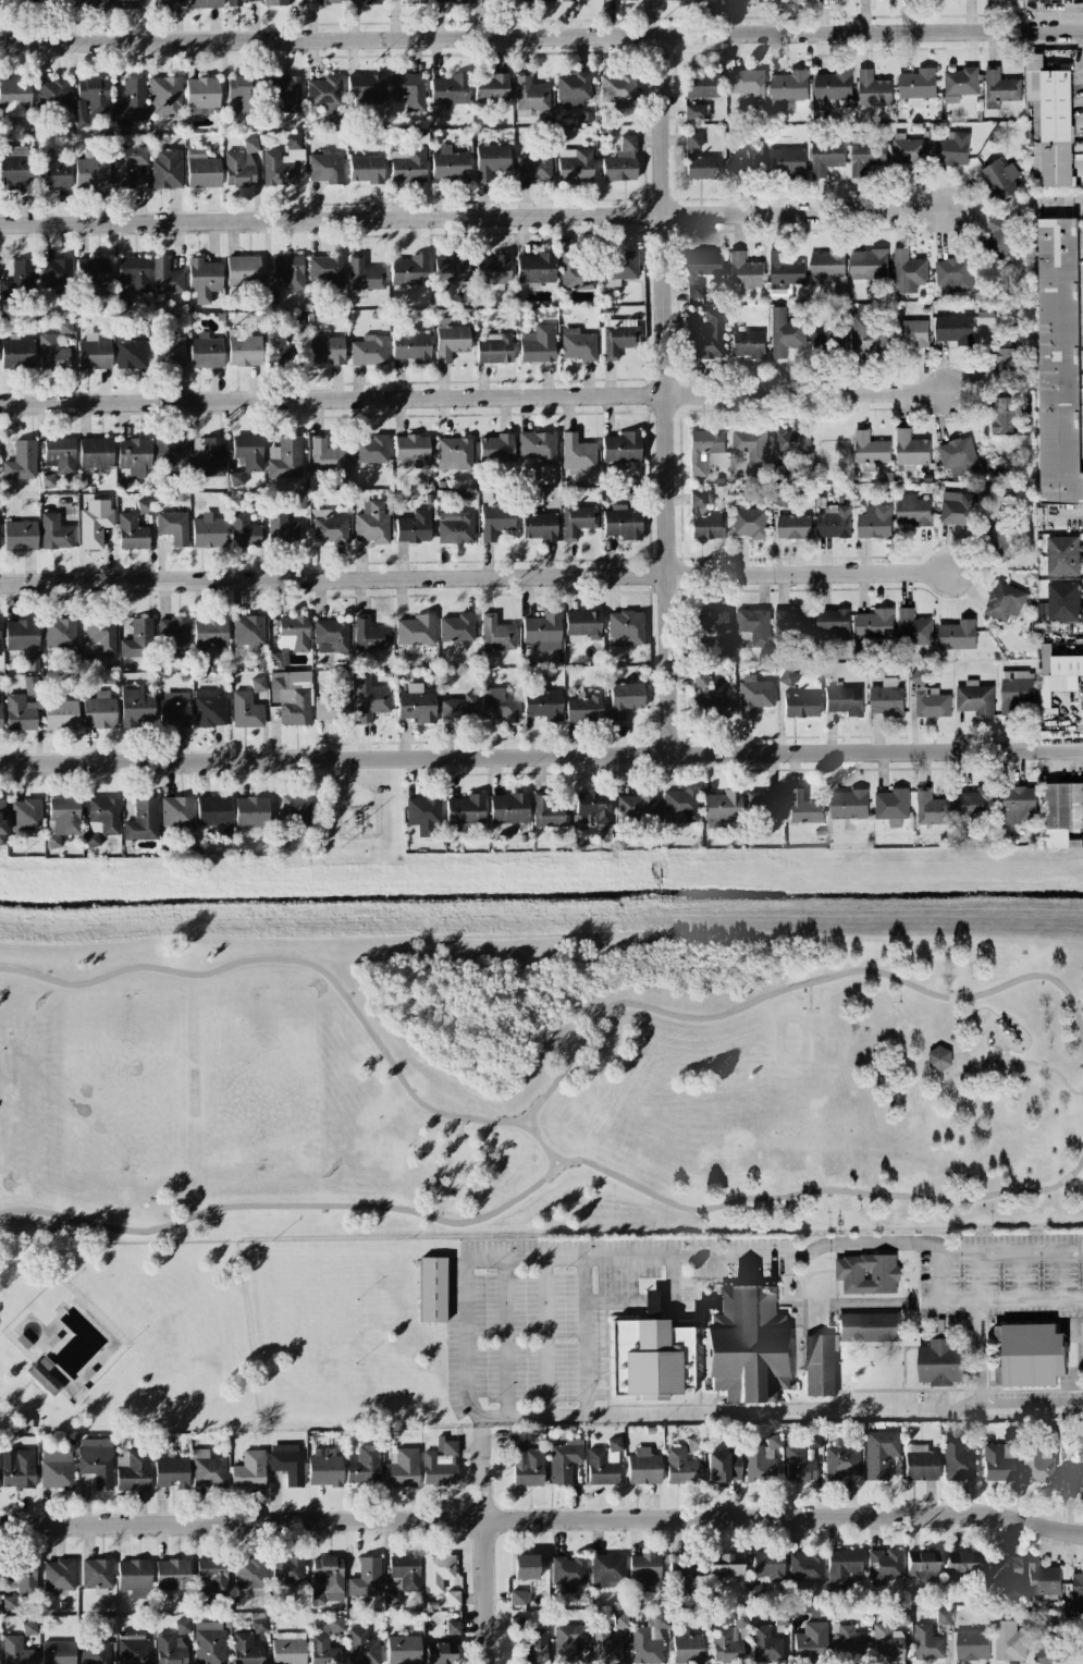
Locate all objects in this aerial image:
building: (407, 0)
building: (536, 0)
building: (566, 0)
building: (666, 0)
building: (275, 1)
building: (364, 1)
building: (447, 1)
building: (478, 1)
building: (52, 2)
building: (321, 2)
building: (13, 3)
building: (94, 3)
building: (169, 3)
building: (205, 3)
building: (126, 4)
road: (541, 36)
building: (746, 83)
building: (918, 83)
building: (960, 83)
building: (834, 84)
building: (701, 85)
building: (1000, 85)
building: (365, 86)
building: (491, 88)
building: (617, 88)
building: (788, 88)
building: (873, 88)
building: (573, 89)
building: (408, 90)
building: (53, 91)
building: (244, 91)
building: (448, 91)
building: (286, 93)
building: (14, 94)
building: (324, 94)
building: (201, 95)
building: (530, 96)
building: (164, 97)
building: (89, 100)
building: (131, 101)
building: (697, 112)
building: (1049, 123)
building: (692, 142)
building: (951, 148)
building: (908, 149)
building: (865, 155)
building: (826, 156)
building: (744, 158)
building: (490, 161)
building: (620, 161)
building: (786, 161)
building: (281, 162)
building: (126, 164)
building: (241, 164)
building: (407, 166)
building: (450, 166)
building: (574, 166)
building: (14, 167)
building: (325, 168)
building: (703, 168)
building: (366, 169)
building: (533, 169)
building: (167, 170)
building: (201, 170)
building: (91, 172)
building: (53, 173)
building: (999, 179)
road: (472, 218)
building: (827, 262)
building: (869, 264)
building: (619, 267)
building: (534, 268)
building: (451, 269)
building: (701, 269)
building: (908, 269)
building: (243, 270)
building: (288, 270)
building: (325, 270)
building: (744, 270)
building: (409, 271)
building: (492, 271)
building: (577, 271)
building: (784, 271)
building: (93, 272)
building: (133, 274)
building: (364, 274)
building: (952, 274)
building: (57, 276)
building: (165, 278)
building: (204, 279)
building: (19, 280)
building: (296, 322)
building: (953, 328)
building: (785, 332)
building: (910, 332)
building: (866, 334)
building: (706, 337)
building: (617, 338)
building: (274, 340)
building: (450, 340)
building: (828, 340)
building: (538, 344)
building: (748, 344)
building: (578, 345)
building: (410, 346)
building: (493, 348)
building: (170, 350)
building: (244, 350)
building: (325, 350)
building: (368, 351)
building: (130, 352)
building: (205, 352)
building: (16, 353)
building: (52, 353)
building: (94, 353)
building: (1005, 359)
building: (1058, 362)
road: (667, 395)
road: (472, 396)
building: (1005, 415)
building: (792, 442)
building: (750, 444)
building: (538, 446)
building: (622, 446)
building: (495, 448)
building: (703, 448)
building: (870, 448)
building: (910, 448)
building: (371, 450)
building: (413, 450)
building: (95, 452)
building: (170, 452)
building: (248, 452)
building: (454, 453)
building: (577, 453)
building: (60, 454)
building: (327, 455)
building: (958, 455)
building: (134, 456)
building: (209, 458)
building: (285, 458)
building: (21, 462)
building: (957, 507)
building: (912, 510)
building: (704, 518)
building: (455, 519)
building: (577, 521)
building: (495, 522)
building: (750, 522)
building: (834, 522)
building: (874, 522)
building: (95, 523)
building: (622, 523)
building: (372, 524)
building: (283, 526)
building: (539, 526)
building: (793, 526)
building: (173, 527)
building: (329, 527)
building: (414, 527)
building: (244, 530)
building: (54, 531)
building: (208, 531)
building: (132, 533)
building: (20, 536)
building: (1063, 554)
road: (473, 578)
building: (1064, 600)
building: (1004, 601)
building: (710, 621)
building: (0, 622)
building: (833, 622)
building: (791, 623)
building: (874, 623)
building: (582, 624)
building: (753, 625)
building: (626, 626)
building: (913, 627)
building: (456, 628)
building: (209, 632)
building: (542, 632)
building: (59, 633)
building: (248, 633)
building: (293, 633)
building: (415, 633)
building: (101, 634)
building: (173, 634)
building: (495, 634)
building: (957, 634)
building: (21, 635)
building: (370, 635)
building: (331, 636)
building: (138, 639)
building: (700, 643)
building: (279, 658)
building: (1057, 673)
building: (787, 677)
building: (258, 684)
building: (30, 685)
building: (1016, 689)
building: (753, 695)
building: (292, 697)
building: (928, 697)
building: (886, 698)
building: (975, 698)
building: (369, 699)
building: (625, 699)
building: (707, 699)
building: (844, 700)
building: (542, 703)
building: (416, 705)
building: (497, 705)
building: (800, 705)
building: (135, 706)
building: (332, 706)
building: (583, 708)
building: (0, 709)
building: (174, 709)
building: (209, 709)
building: (458, 709)
building: (246, 710)
building: (99, 711)
building: (21, 713)
building: (60, 714)
road: (541, 757)
building: (763, 804)
building: (848, 804)
building: (1018, 804)
building: (891, 805)
building: (637, 806)
building: (680, 806)
building: (593, 807)
building: (932, 807)
building: (508, 808)
building: (721, 808)
building: (803, 808)
building: (466, 810)
building: (175, 811)
building: (1061, 811)
building: (549, 812)
building: (213, 813)
building: (250, 813)
building: (296, 813)
building: (423, 813)
building: (25, 815)
building: (103, 815)
building: (62, 819)
building: (141, 821)
road: (805, 998)
road: (1078, 1005)
road: (807, 1012)
road: (1004, 1044)
building: (939, 1057)
road: (997, 1065)
road: (961, 1072)
road: (1021, 1073)
road: (553, 1082)
park: (539, 1088)
road: (522, 1128)
road: (459, 1129)
road: (539, 1146)
road: (556, 1160)
road: (1074, 1166)
road: (532, 1186)
road: (1071, 1188)
road: (962, 1189)
road: (470, 1211)
road: (1012, 1253)
building: (869, 1273)
road: (1061, 1275)
road: (943, 1276)
road: (977, 1276)
road: (1018, 1276)
building: (433, 1289)
road: (650, 1298)
road: (1012, 1299)
road: (891, 1300)
building: (650, 1301)
building: (869, 1326)
road: (583, 1336)
road: (506, 1338)
road: (545, 1338)
park: (124, 1339)
building: (749, 1345)
road: (979, 1348)
flagpole: (1082, 1348)
road: (467, 1351)
building: (1030, 1354)
building: (650, 1359)
flagpole: (1082, 1360)
building: (940, 1362)
building: (819, 1366)
building: (44, 1378)
road: (38, 1387)
road: (19, 1394)
road: (1031, 1398)
road: (480, 1424)
building: (813, 1441)
building: (693, 1443)
building: (879, 1453)
building: (957, 1459)
building: (564, 1460)
building: (761, 1460)
building: (999, 1460)
building: (96, 1461)
building: (841, 1461)
building: (287, 1463)
building: (440, 1464)
building: (603, 1464)
building: (920, 1464)
building: (1036, 1464)
building: (364, 1466)
building: (723, 1466)
building: (798, 1466)
building: (57, 1467)
building: (527, 1467)
building: (643, 1467)
building: (679, 1467)
building: (324, 1468)
building: (403, 1469)
building: (19, 1470)
building: (133, 1470)
building: (208, 1470)
building: (248, 1471)
building: (171, 1472)
building: (1074, 1473)
road: (542, 1520)
road: (483, 1546)
building: (768, 1565)
building: (525, 1566)
building: (725, 1566)
building: (884, 1566)
building: (961, 1566)
building: (805, 1567)
building: (841, 1567)
building: (921, 1567)
building: (607, 1570)
building: (288, 1571)
building: (249, 1573)
building: (644, 1573)
building: (1006, 1573)
building: (172, 1574)
building: (213, 1574)
building: (567, 1574)
building: (58, 1575)
building: (682, 1575)
building: (97, 1576)
building: (329, 1576)
building: (403, 1576)
building: (441, 1577)
building: (21, 1578)
building: (134, 1578)
building: (366, 1578)
building: (1043, 1579)
building: (756, 1591)
building: (1076, 1592)
building: (519, 1598)
building: (316, 1599)
building: (943, 1616)
building: (900, 1618)
building: (620, 1620)
building: (740, 1620)
building: (258, 1623)
building: (517, 1624)
building: (182, 1626)
building: (331, 1626)
building: (452, 1627)
building: (28, 1628)
building: (648, 1640)
building: (811, 1640)
building: (848, 1640)
building: (1008, 1641)
building: (209, 1642)
building: (887, 1643)
building: (926, 1643)
building: (972, 1643)
building: (728, 1644)
building: (765, 1644)
building: (687, 1647)
building: (287, 1648)
building: (361, 1648)
building: (533, 1648)
building: (605, 1648)
building: (132, 1649)
building: (170, 1649)
building: (246, 1649)
building: (322, 1650)
building: (403, 1650)
building: (15, 1651)
building: (58, 1652)
building: (1050, 1652)
building: (95, 1653)
building: (440, 1653)

